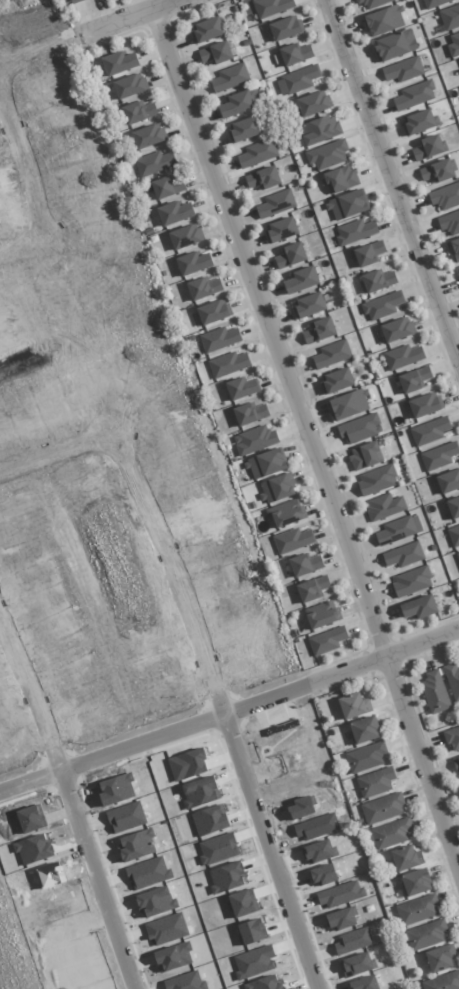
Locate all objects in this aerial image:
building: (70, 1)
building: (372, 3)
building: (434, 3)
building: (271, 7)
building: (449, 17)
building: (383, 20)
building: (285, 27)
building: (206, 30)
road: (88, 33)
building: (394, 45)
building: (453, 45)
building: (215, 53)
building: (294, 54)
building: (119, 62)
building: (402, 69)
building: (229, 78)
building: (297, 80)
building: (129, 85)
building: (414, 95)
building: (239, 103)
building: (312, 103)
building: (138, 111)
building: (418, 121)
building: (243, 129)
building: (319, 130)
building: (148, 136)
building: (427, 147)
building: (257, 153)
building: (326, 154)
building: (154, 163)
road: (25, 169)
building: (436, 171)
building: (263, 178)
building: (341, 179)
road: (394, 179)
building: (167, 187)
building: (445, 196)
building: (275, 203)
building: (347, 205)
building: (174, 212)
building: (449, 222)
building: (280, 229)
building: (355, 231)
building: (185, 236)
building: (453, 249)
road: (20, 250)
building: (367, 254)
building: (290, 255)
building: (193, 262)
building: (457, 270)
building: (301, 280)
building: (376, 280)
building: (203, 287)
building: (308, 305)
building: (382, 305)
building: (213, 311)
building: (319, 330)
building: (395, 330)
road: (269, 333)
building: (219, 338)
building: (331, 354)
building: (402, 356)
building: (228, 364)
building: (413, 379)
building: (336, 380)
building: (241, 388)
building: (348, 404)
building: (423, 405)
building: (249, 413)
building: (359, 428)
building: (429, 431)
building: (255, 439)
road: (56, 453)
building: (365, 455)
building: (438, 456)
building: (265, 464)
building: (376, 479)
building: (448, 481)
building: (276, 488)
building: (384, 506)
building: (453, 507)
building: (286, 513)
building: (398, 530)
building: (453, 535)
building: (292, 540)
building: (403, 555)
building: (457, 556)
building: (305, 564)
building: (411, 581)
building: (312, 588)
building: (419, 607)
building: (322, 614)
building: (326, 640)
building: (452, 679)
building: (434, 692)
building: (354, 705)
road: (222, 708)
road: (230, 713)
building: (363, 729)
building: (452, 738)
building: (365, 757)
road: (422, 760)
building: (456, 764)
building: (375, 782)
road: (70, 803)
building: (300, 806)
building: (383, 808)
building: (210, 819)
building: (316, 826)
building: (391, 833)
building: (218, 848)
building: (318, 851)
building: (405, 857)
building: (322, 874)
building: (226, 876)
building: (415, 882)
building: (340, 894)
building: (241, 902)
building: (417, 910)
building: (339, 919)
building: (251, 931)
building: (425, 934)
building: (352, 940)
building: (440, 958)
building: (254, 961)
building: (356, 964)
building: (443, 981)
building: (363, 982)
building: (265, 983)

